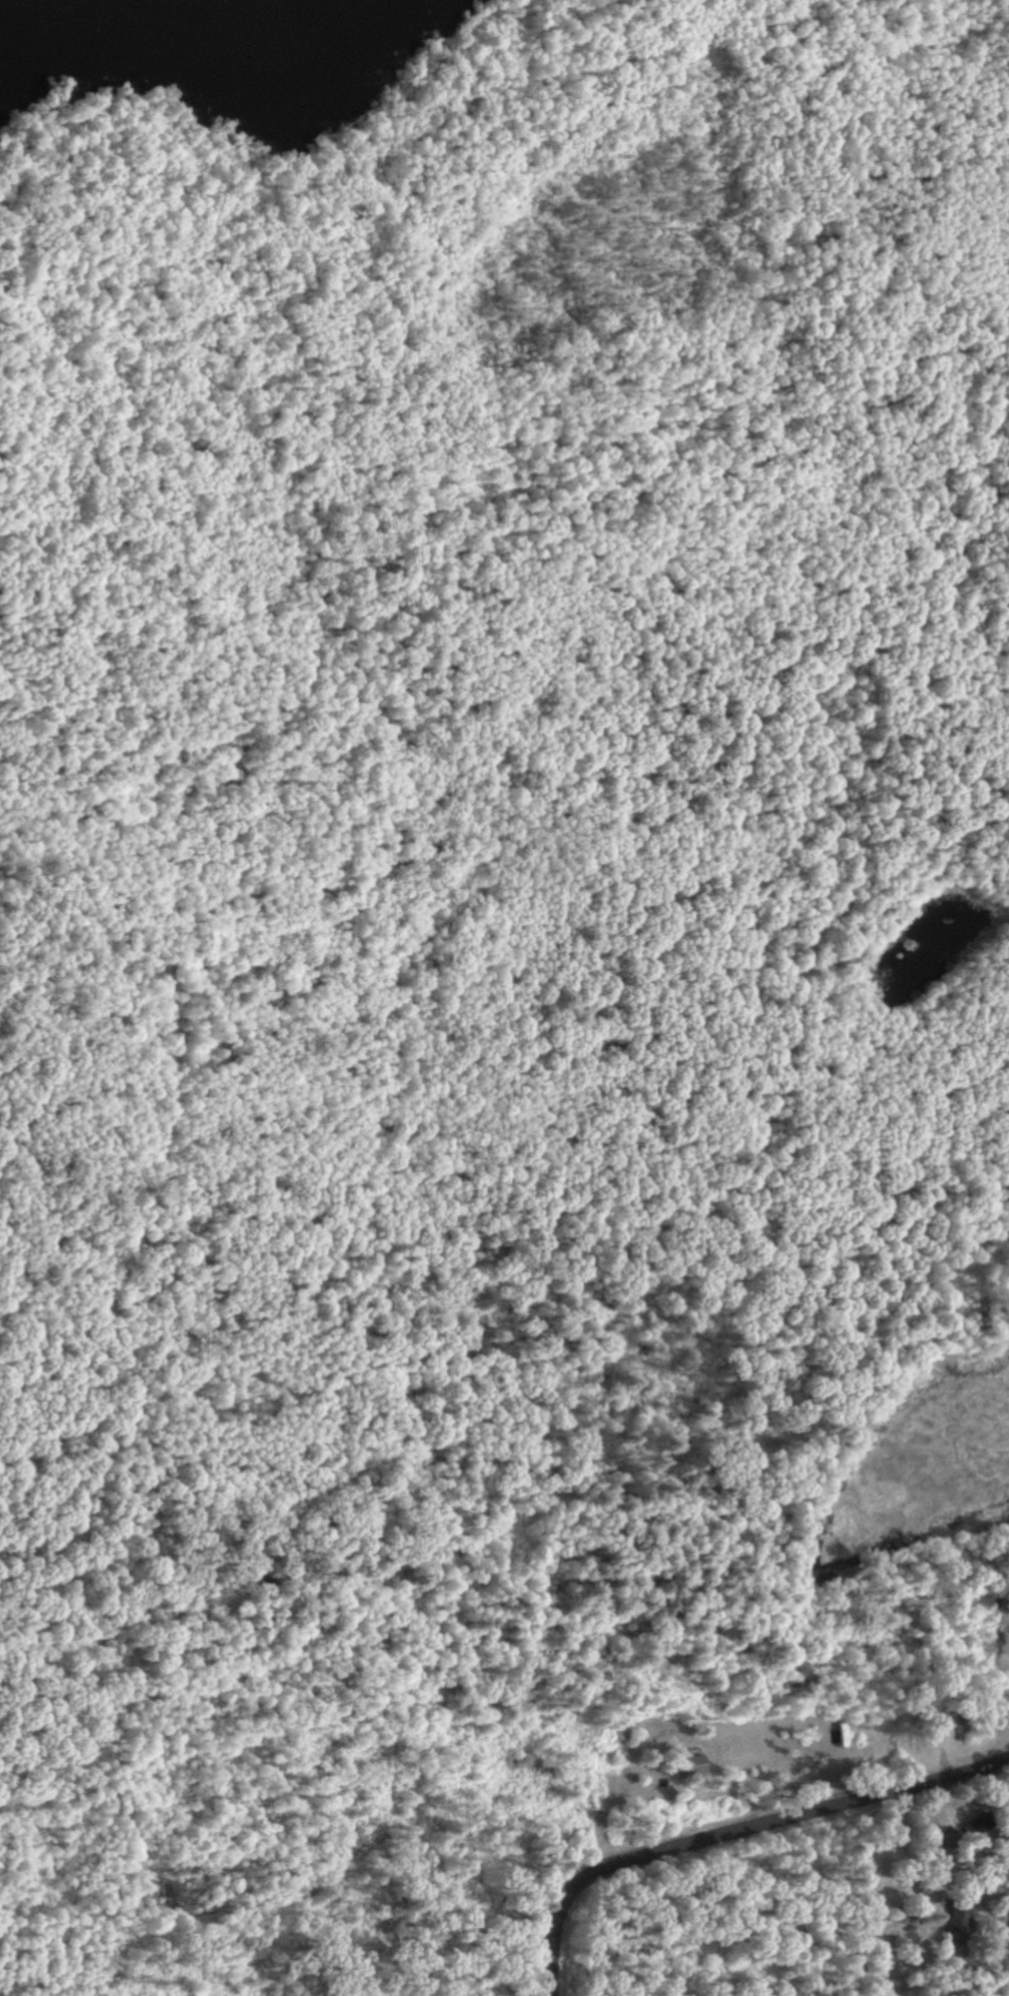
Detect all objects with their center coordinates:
river: (166, 40)
road: (732, 1832)

